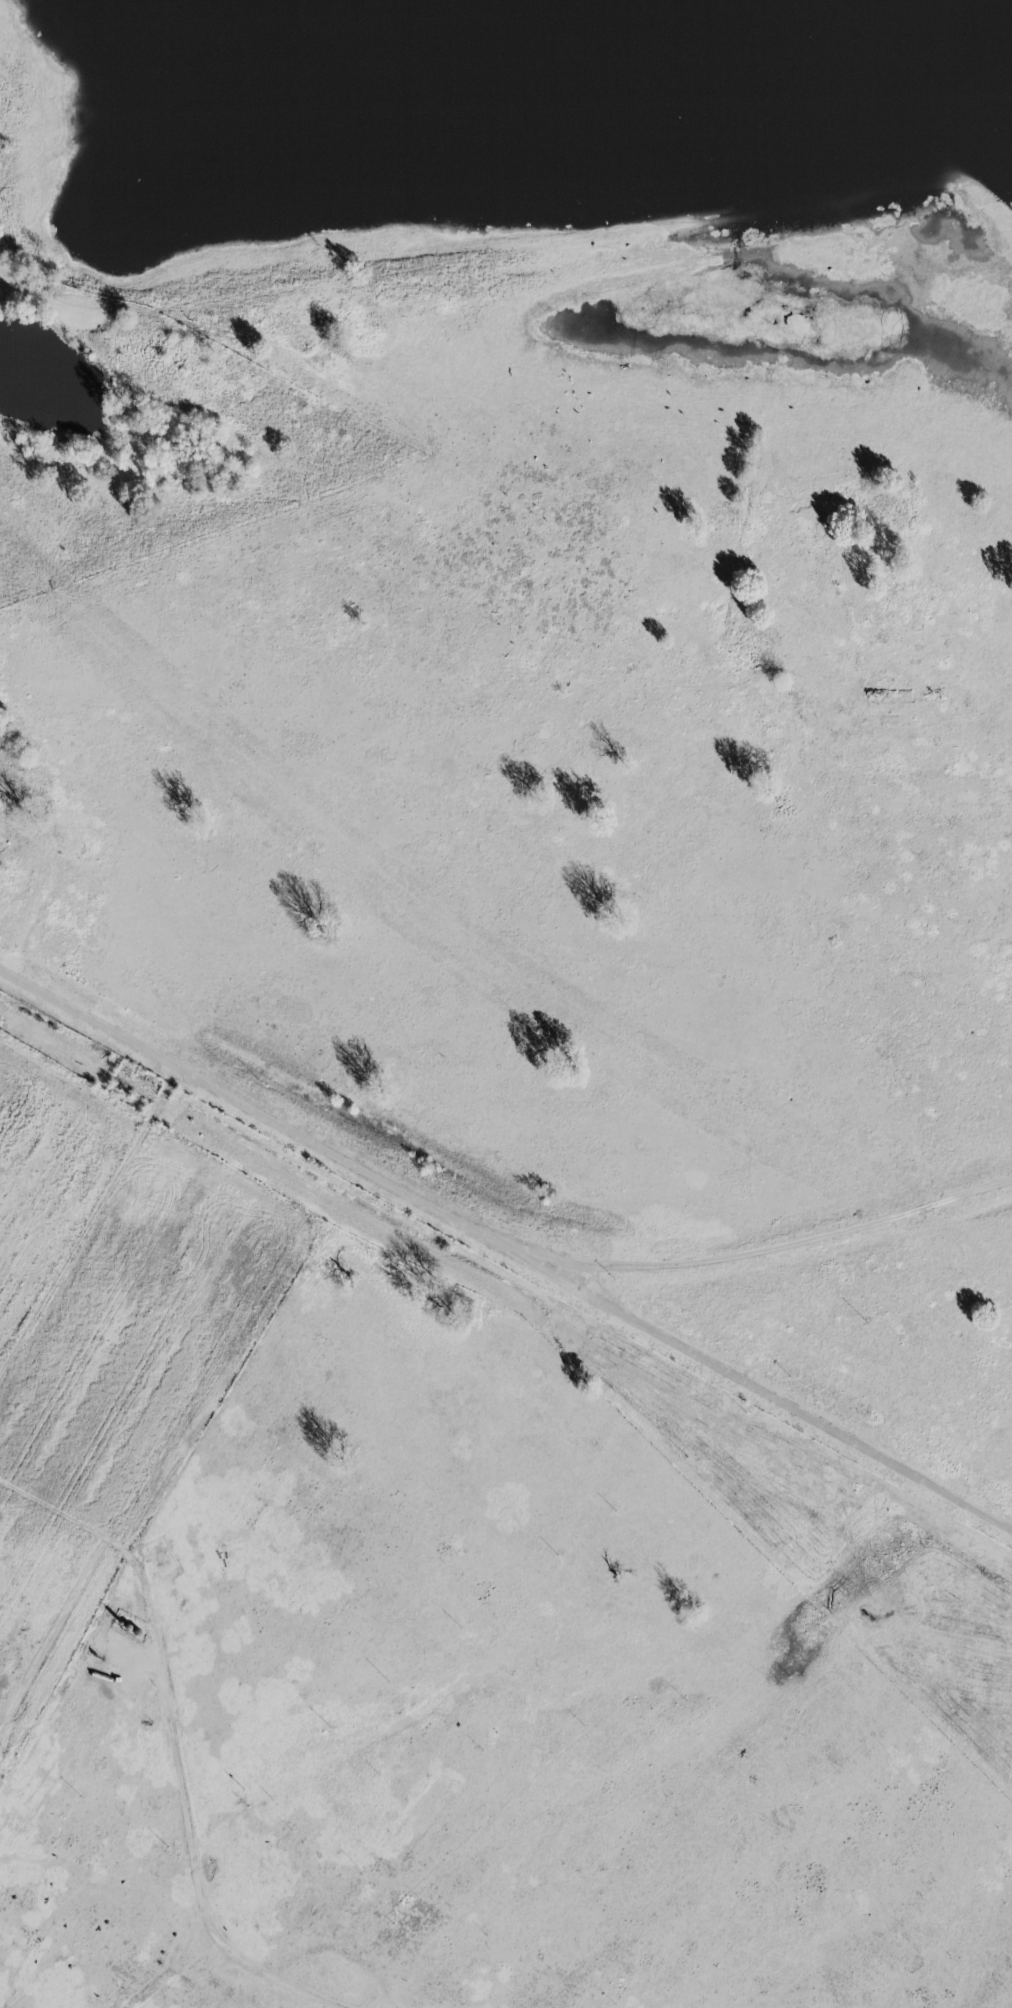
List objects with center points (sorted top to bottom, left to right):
road: (772, 1248)
road: (507, 1254)

